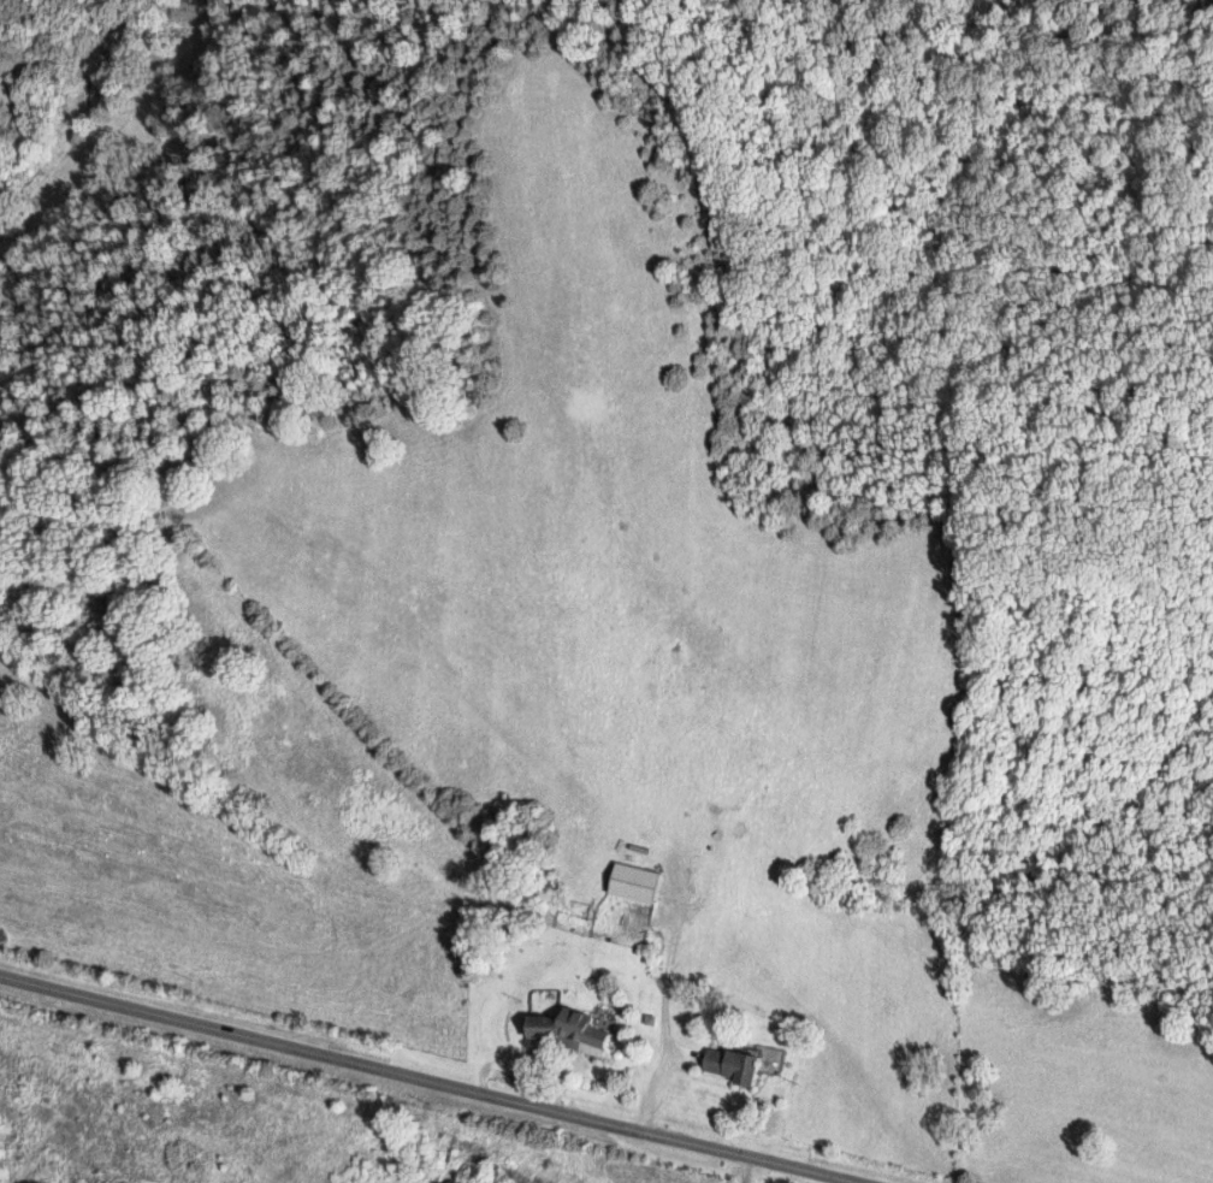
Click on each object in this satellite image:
building: (635, 883)
road: (667, 1023)
building: (574, 1030)
road: (509, 1061)
building: (742, 1065)
road: (420, 1086)
road: (736, 1171)

